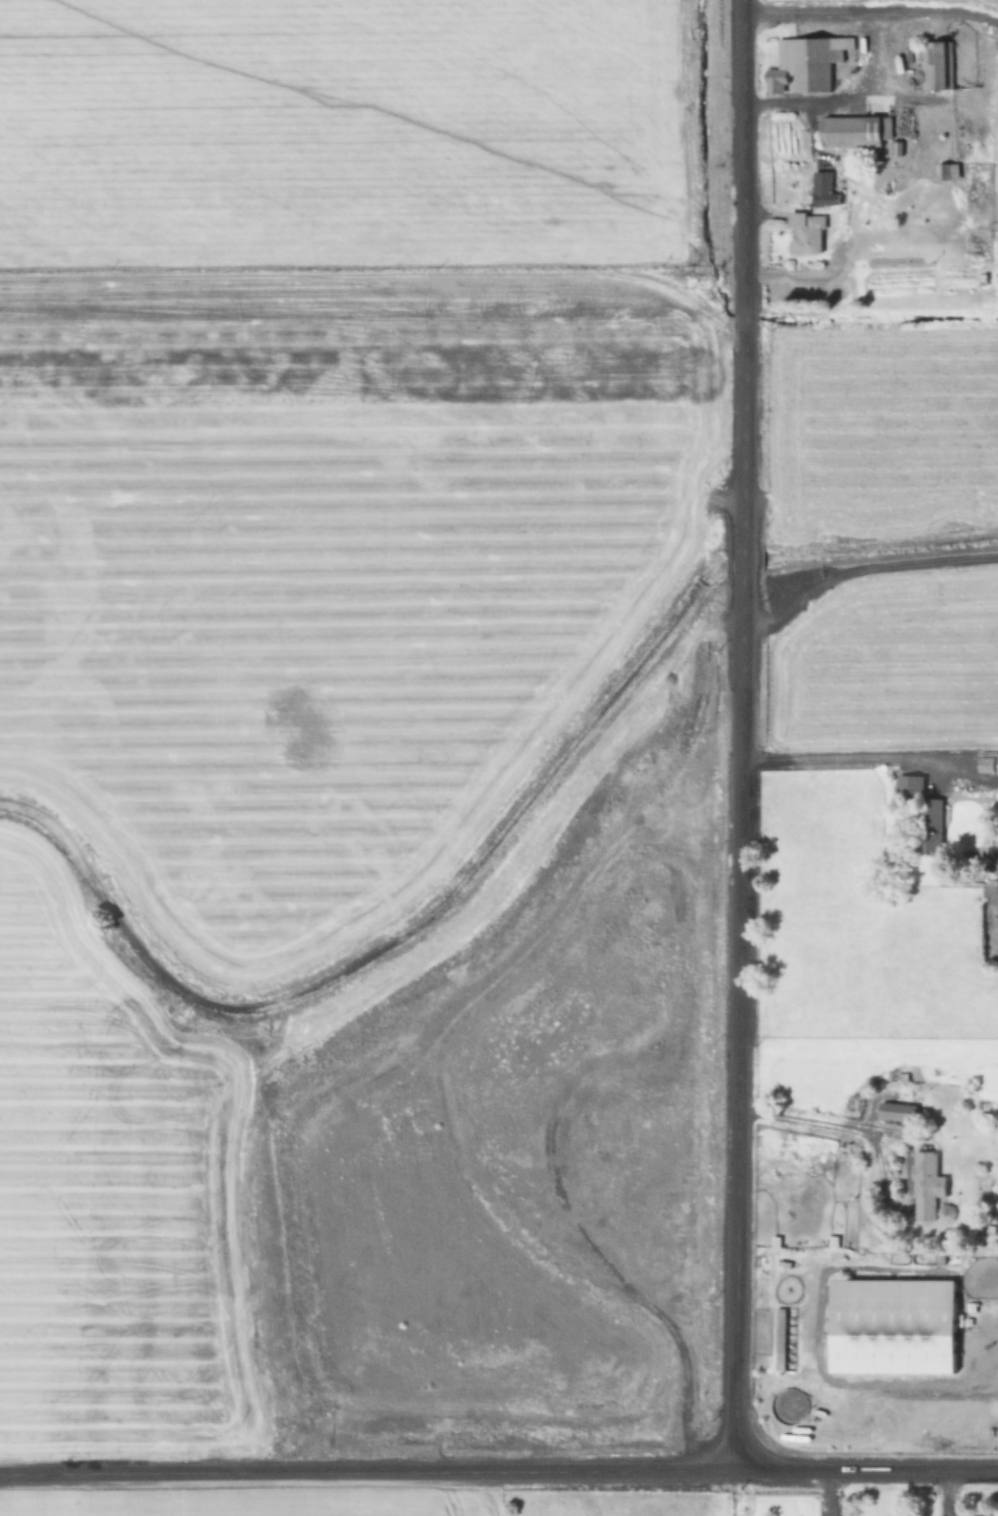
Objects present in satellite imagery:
building: (983, 279)
road: (740, 736)
building: (986, 766)
building: (911, 785)
building: (929, 826)
building: (902, 1112)
building: (928, 1185)
building: (894, 1327)
building: (786, 1339)
road: (498, 1474)

